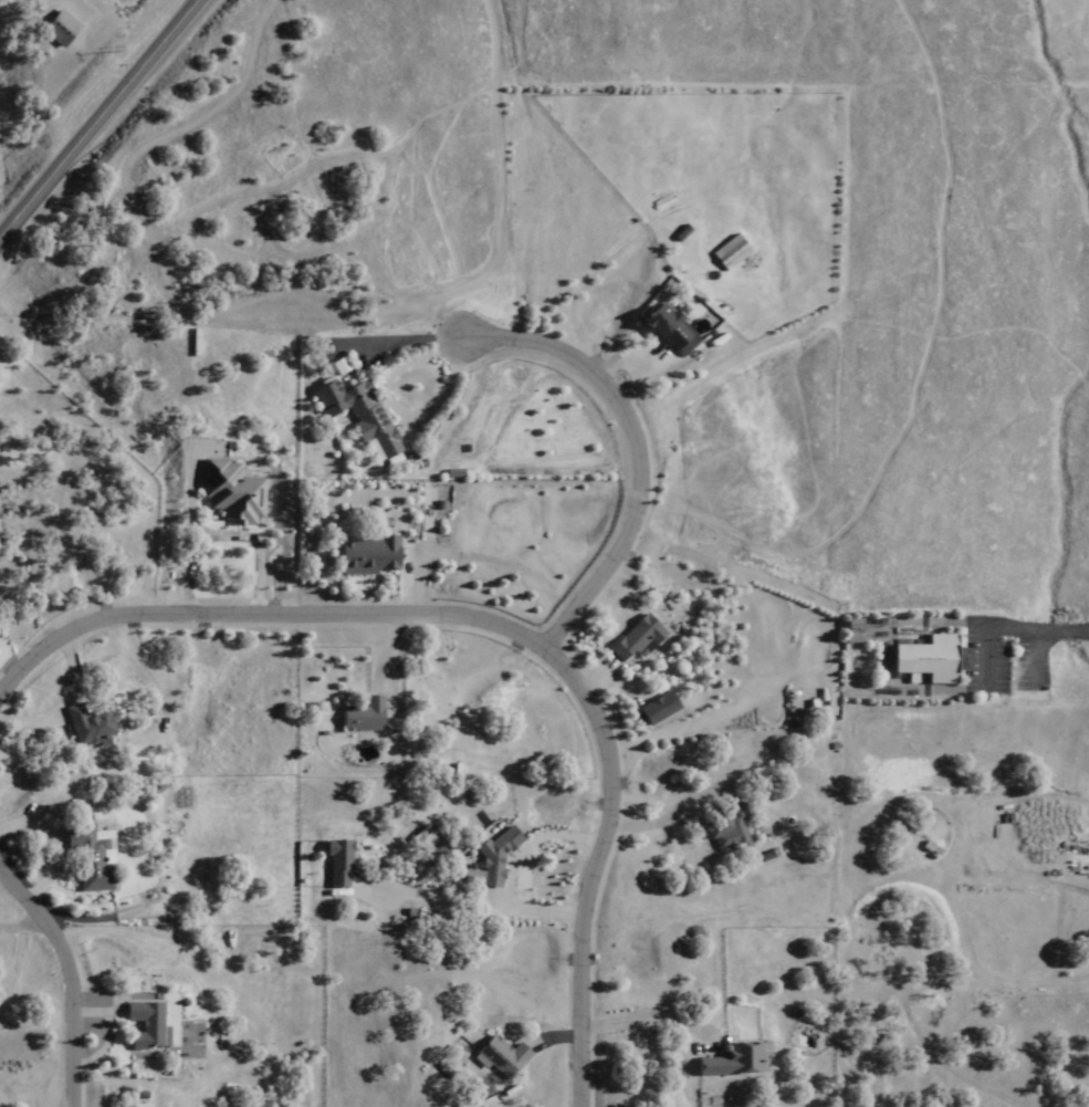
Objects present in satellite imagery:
building: (53, 25)
road: (100, 118)
building: (729, 252)
building: (667, 328)
building: (352, 414)
road: (629, 446)
building: (228, 491)
building: (363, 553)
road: (1008, 627)
road: (495, 630)
building: (631, 637)
road: (1036, 654)
building: (921, 658)
building: (653, 708)
building: (357, 716)
building: (85, 723)
building: (723, 828)
building: (87, 857)
building: (491, 858)
road: (63, 984)
road: (641, 1016)
building: (143, 1025)
building: (499, 1056)
building: (731, 1061)

